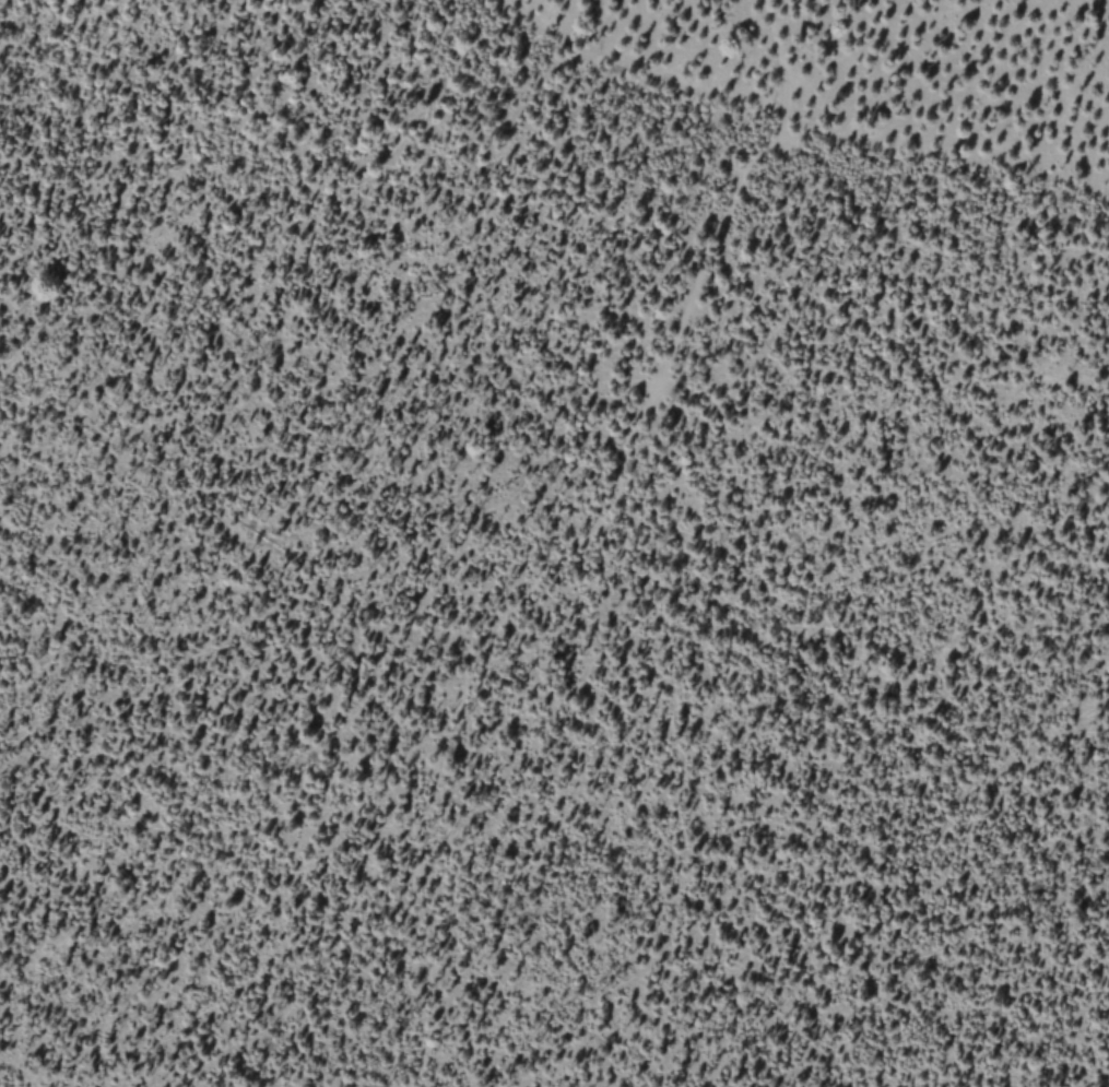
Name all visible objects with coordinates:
road: (784, 121)

